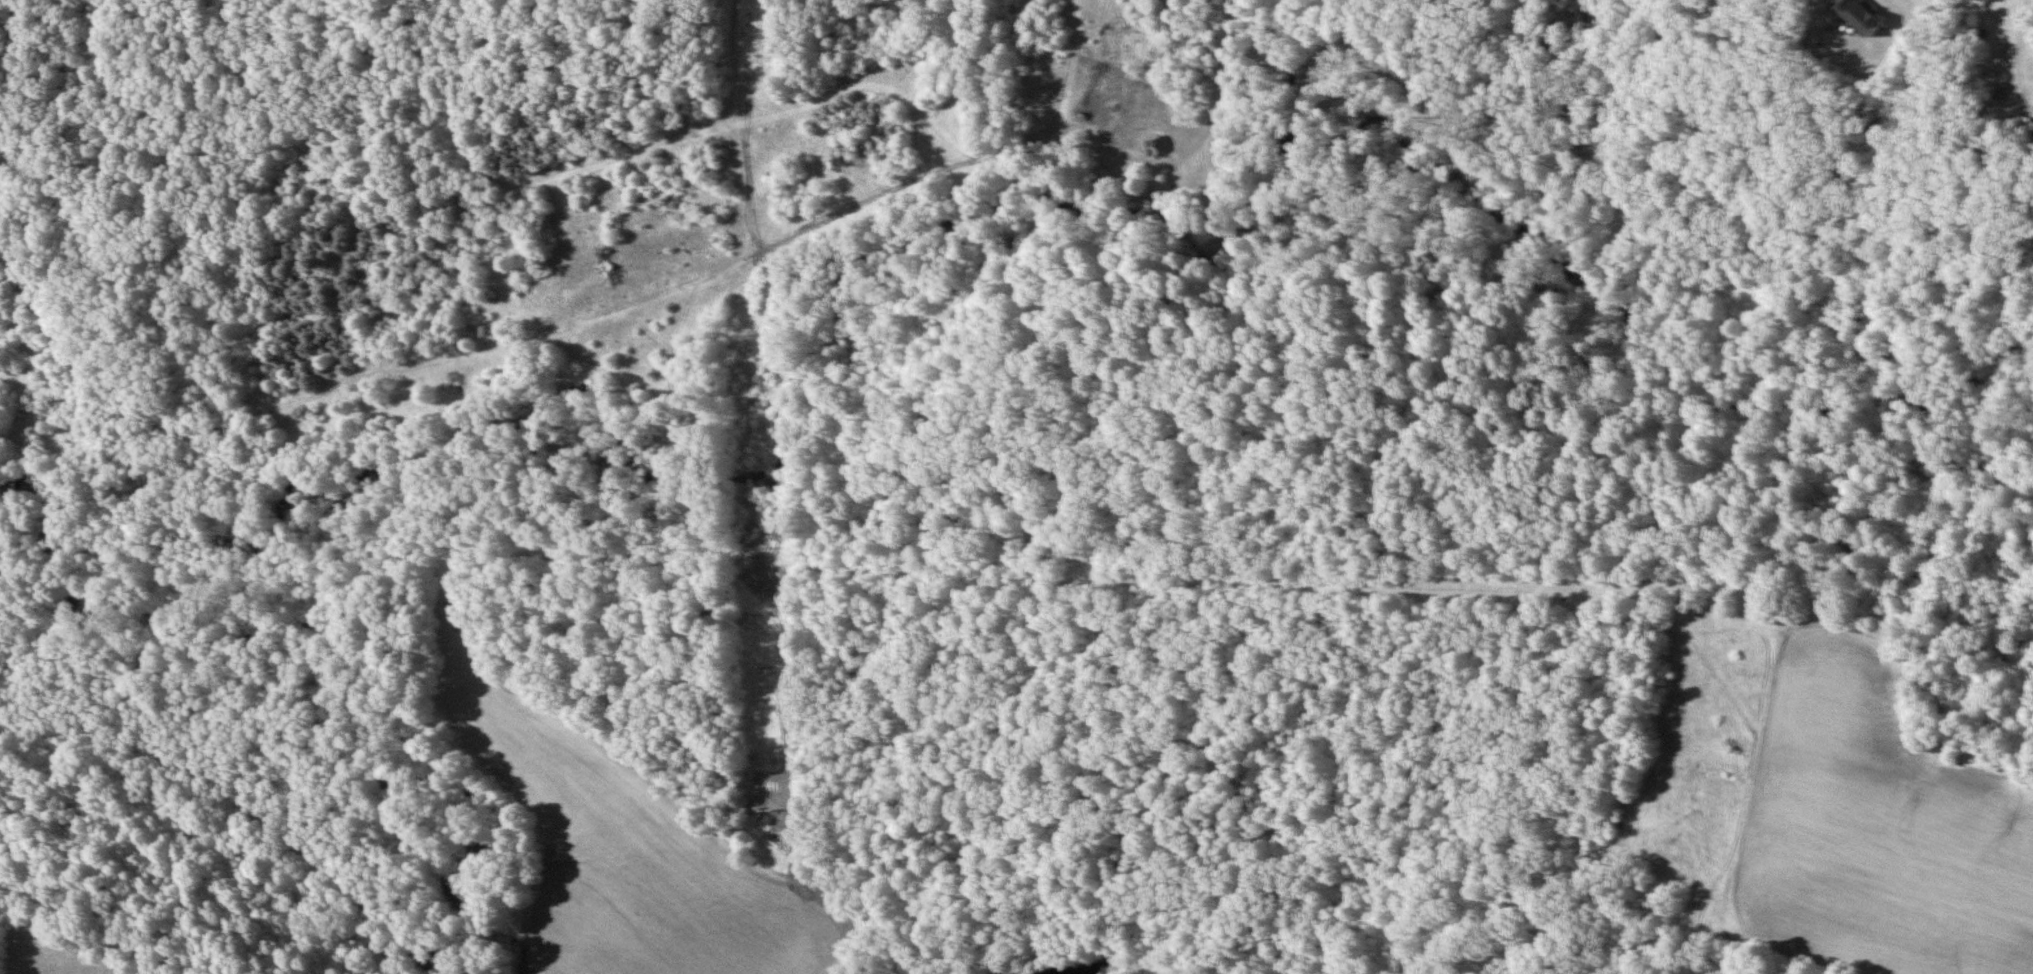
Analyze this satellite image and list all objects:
building: (1859, 15)
road: (2017, 59)
power tower: (753, 547)
power tower: (766, 806)

